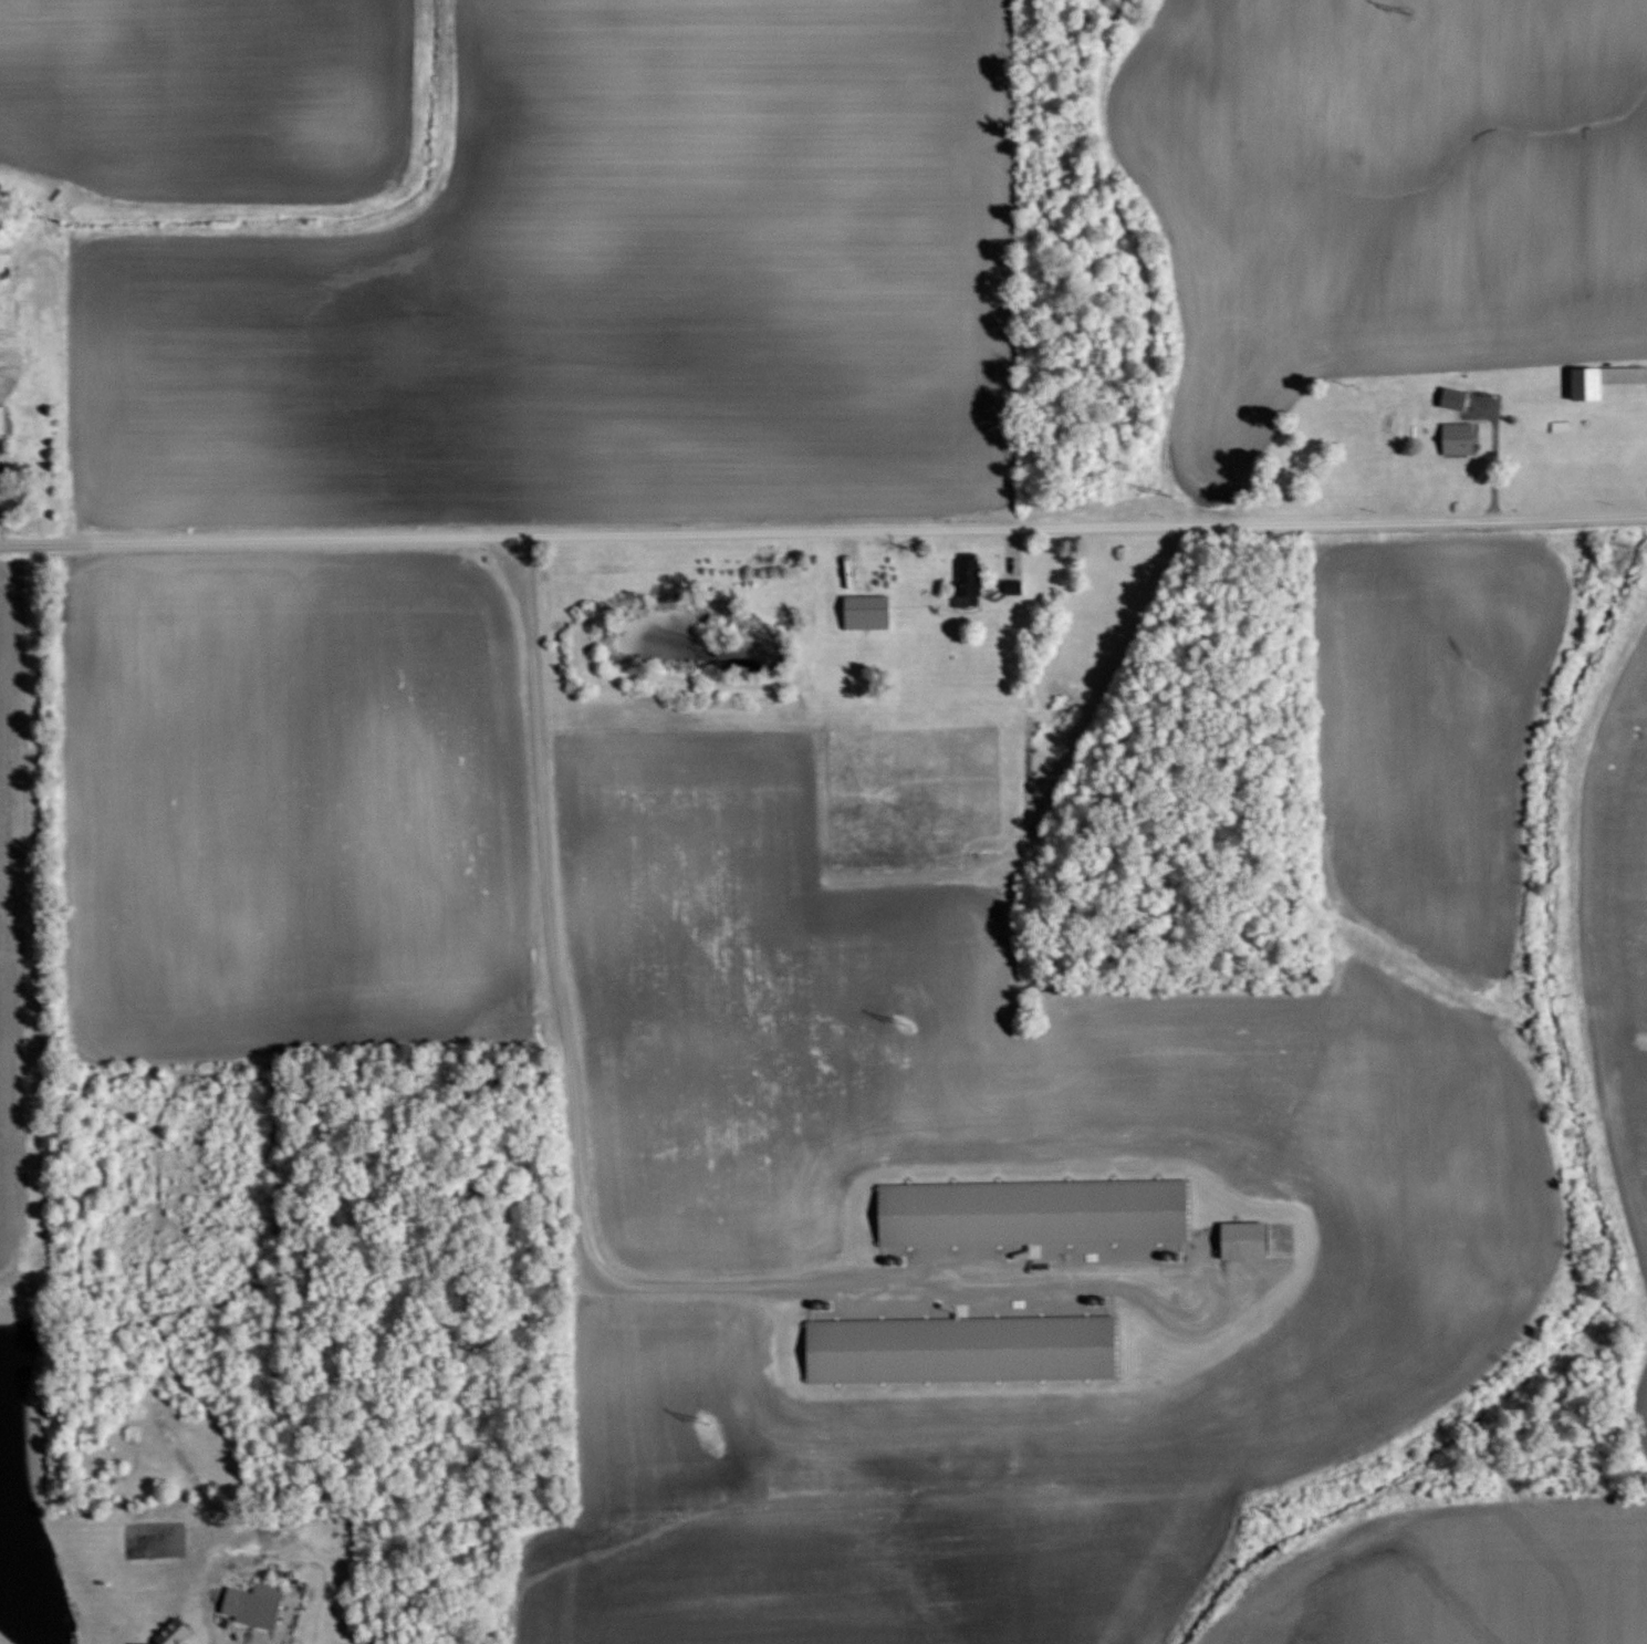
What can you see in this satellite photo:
power tower: (1415, 17)
building: (1608, 381)
building: (1452, 396)
building: (3, 418)
building: (1457, 437)
power tower: (1171, 498)
road: (823, 529)
building: (966, 579)
building: (867, 611)
power tower: (910, 1026)
road: (582, 1200)
power tower: (712, 1419)
building: (261, 1604)

